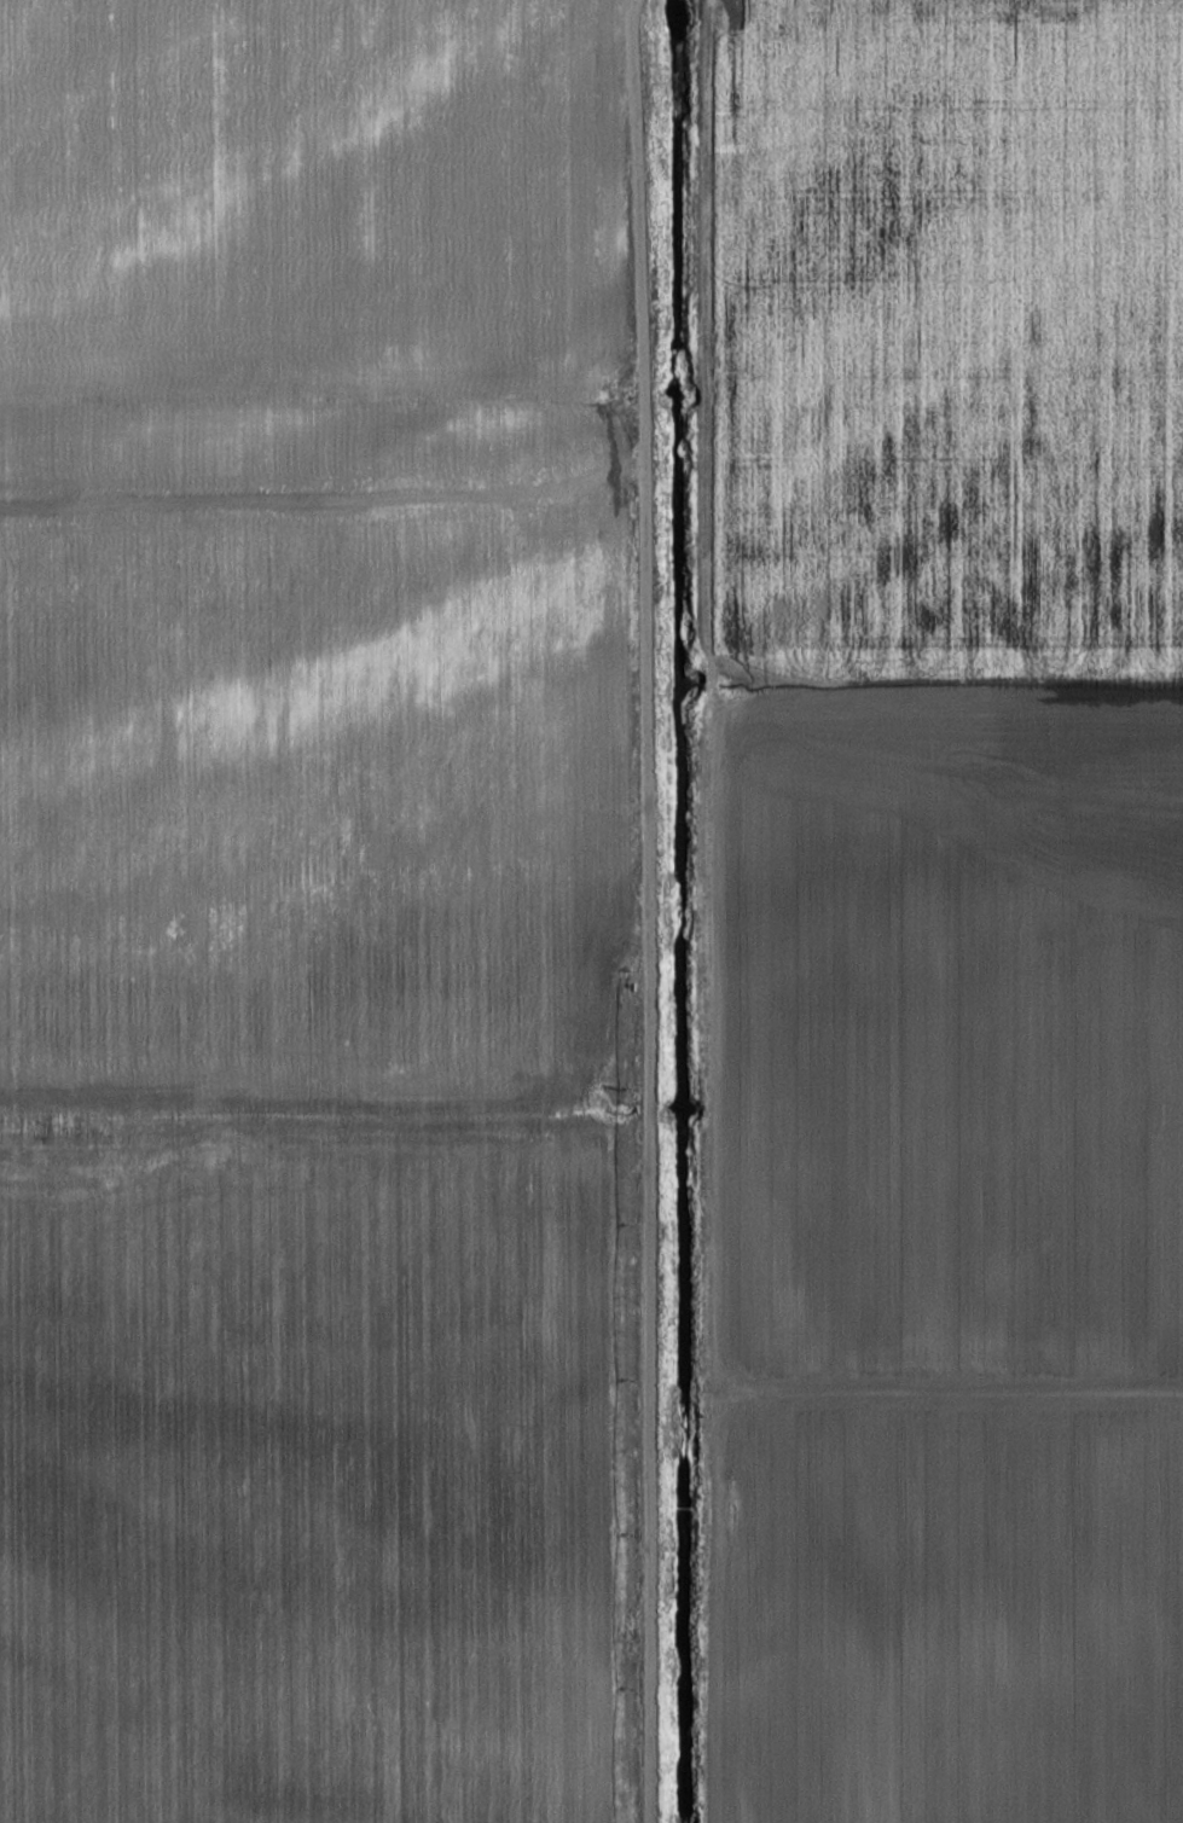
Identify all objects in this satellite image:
road: (642, 911)

